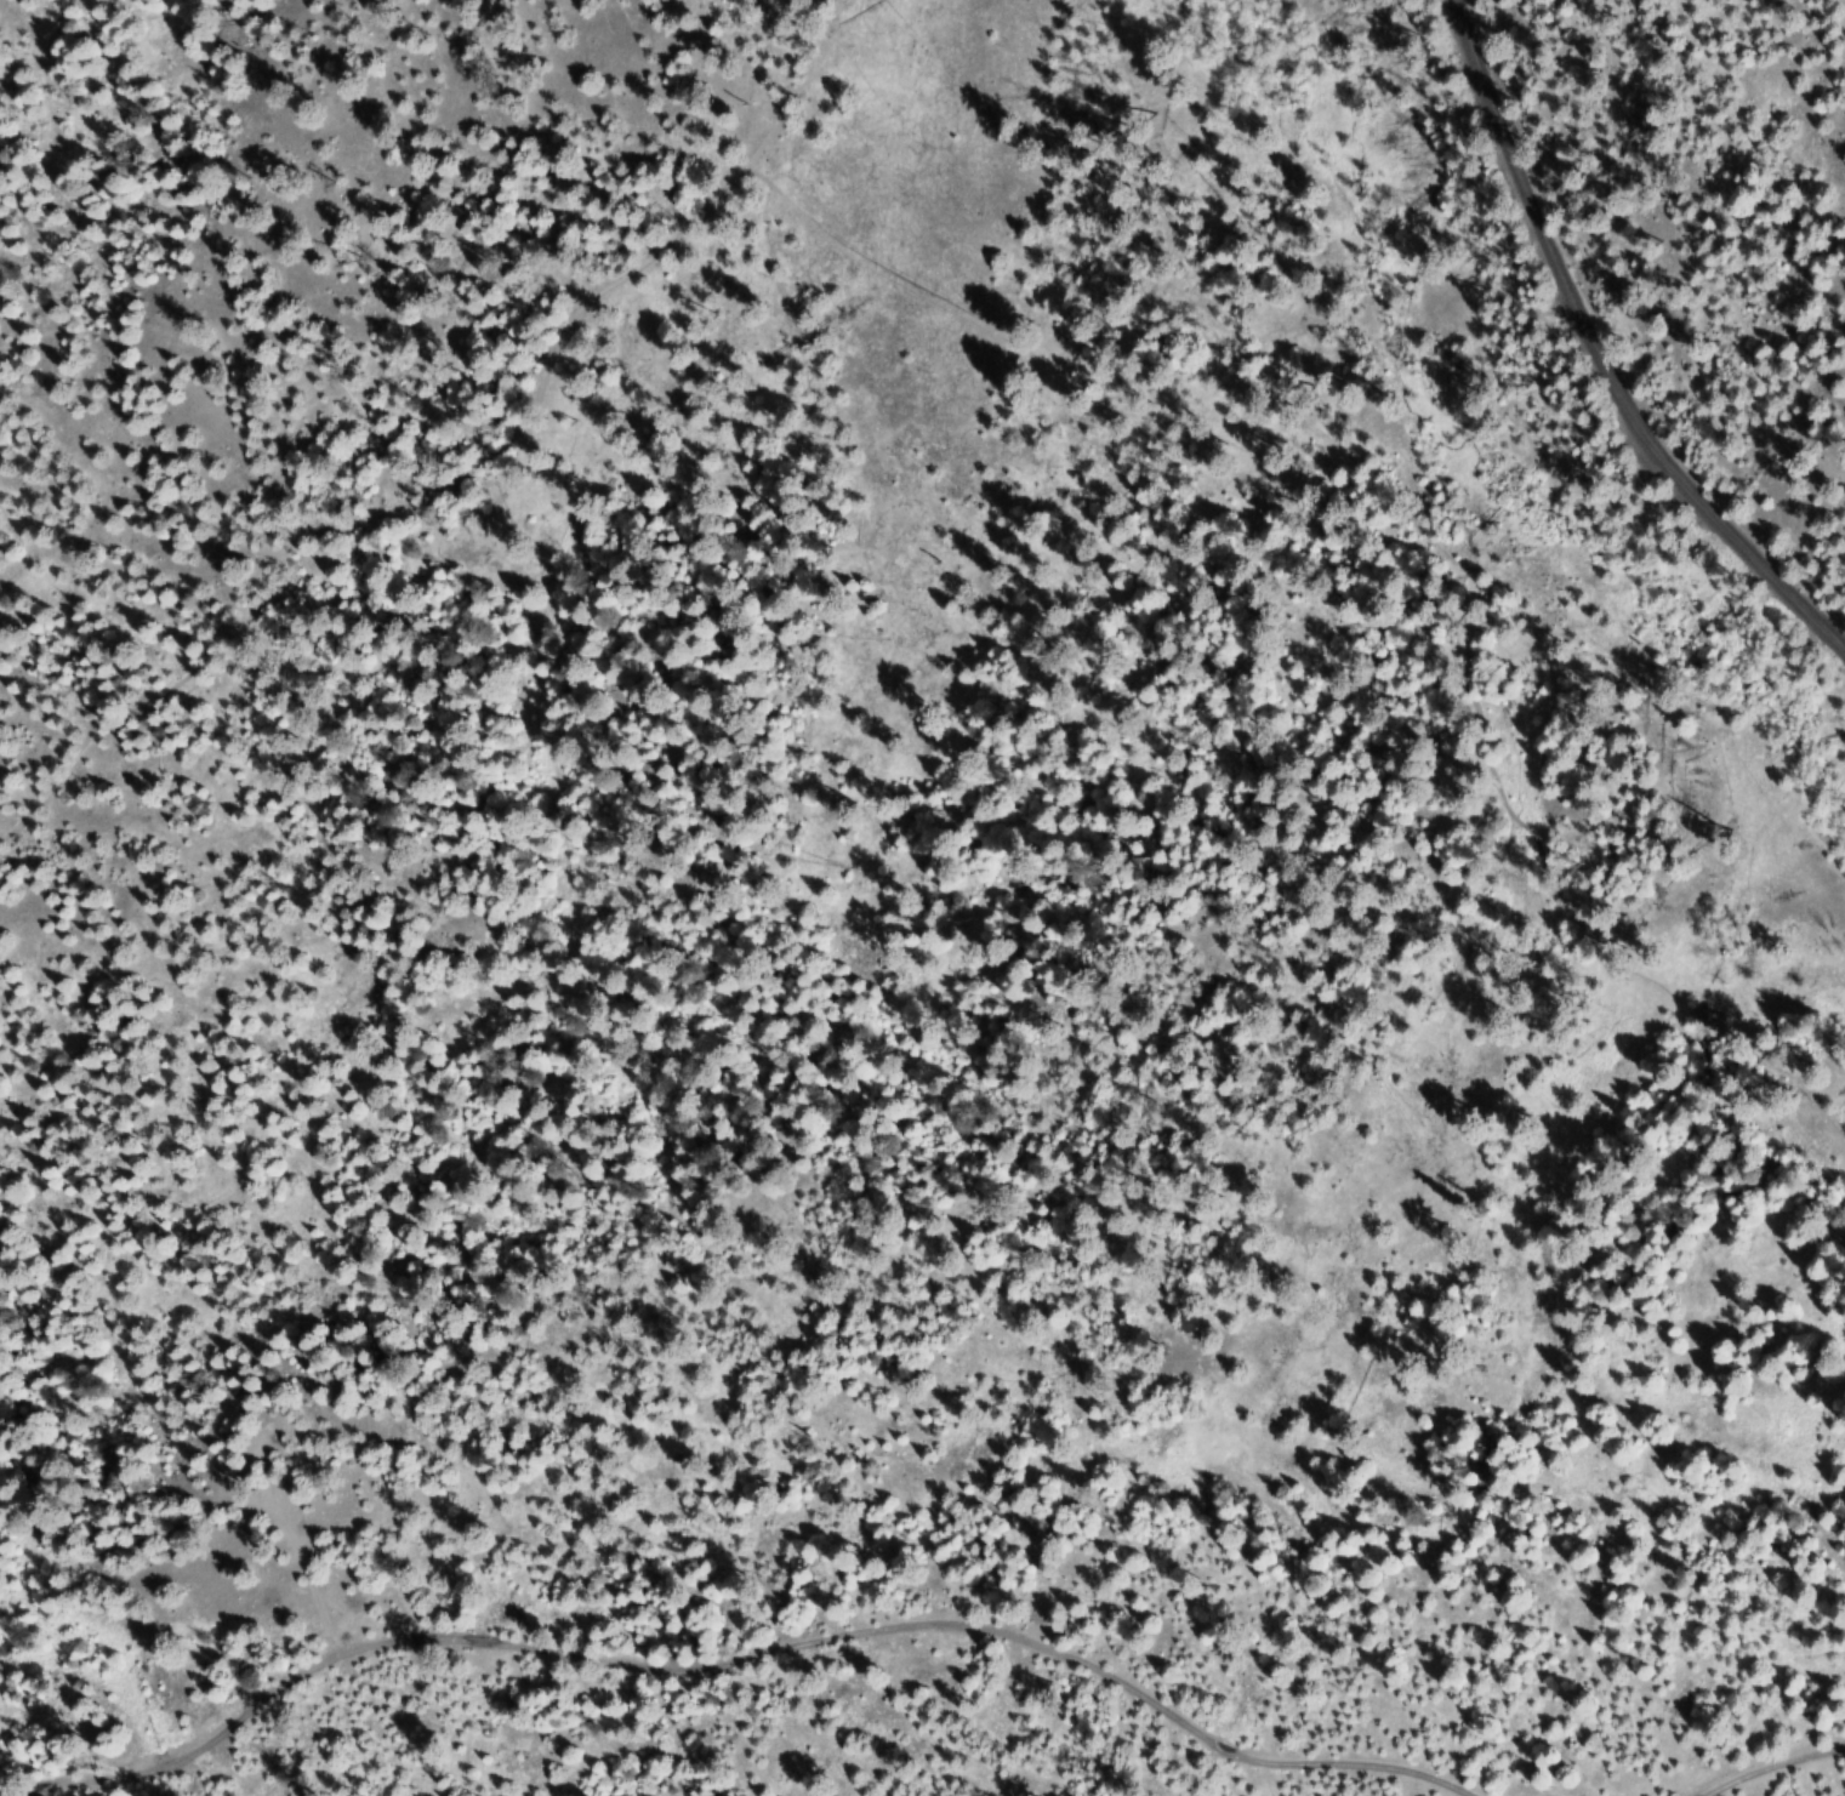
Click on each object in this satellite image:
road: (1610, 343)
road: (291, 559)
road: (281, 1532)
road: (734, 1661)
road: (1781, 1767)

